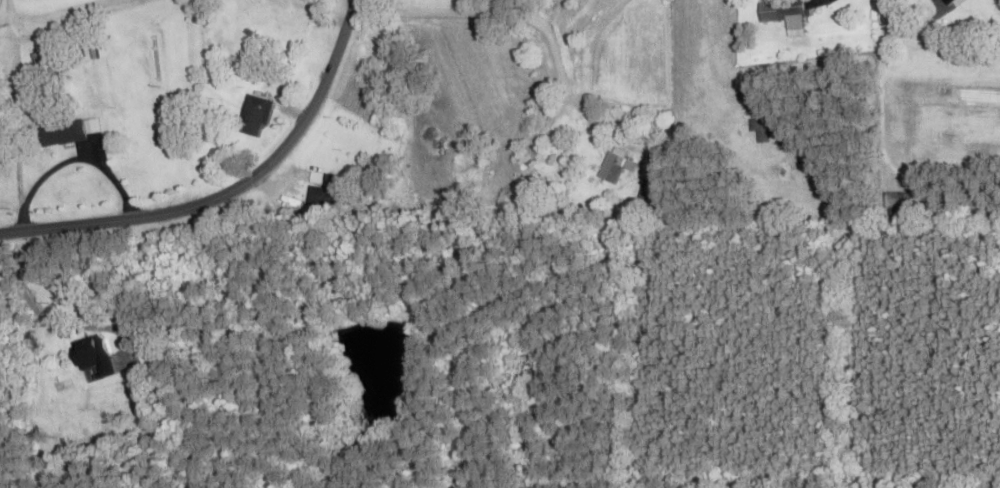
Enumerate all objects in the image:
building: (946, 2)
road: (786, 10)
building: (781, 13)
building: (48, 59)
road: (587, 117)
building: (251, 118)
road: (18, 126)
building: (759, 129)
building: (61, 134)
building: (614, 169)
road: (230, 191)
building: (323, 191)
building: (896, 201)

